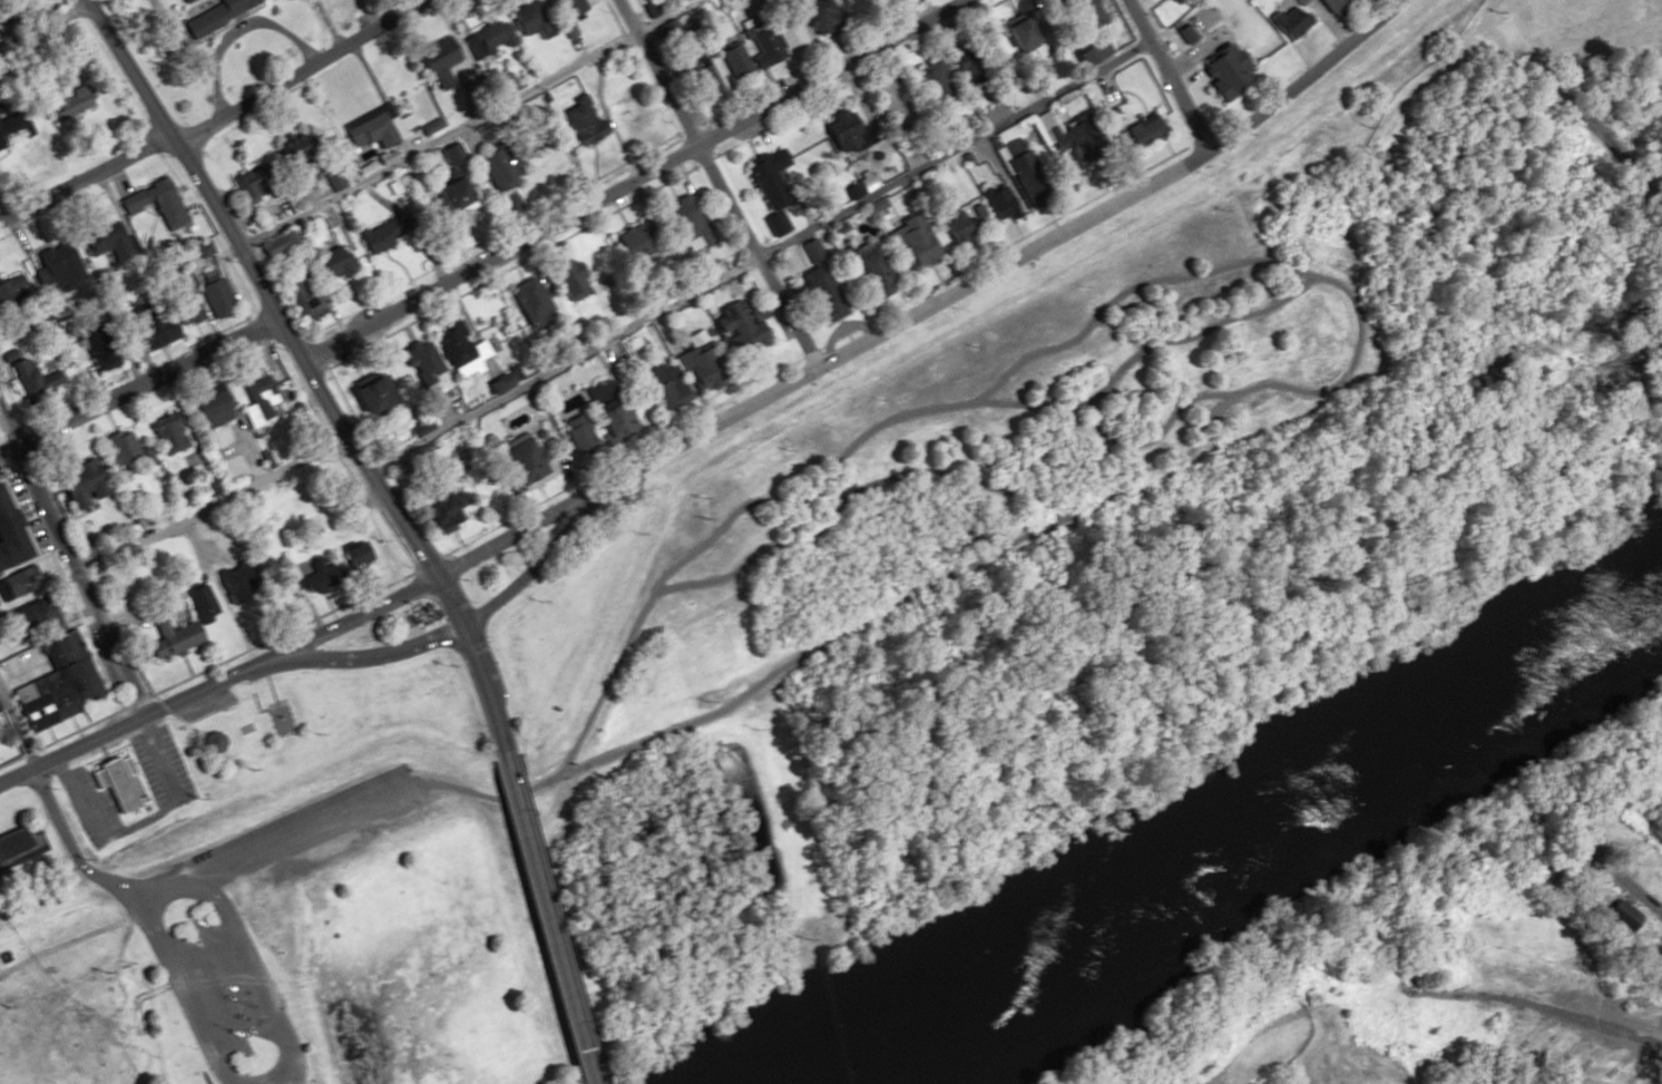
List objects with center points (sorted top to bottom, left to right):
building: (183, 1)
building: (1328, 4)
building: (567, 8)
building: (1086, 12)
building: (810, 13)
building: (214, 14)
building: (526, 20)
building: (1285, 21)
building: (784, 32)
building: (489, 37)
building: (1089, 50)
building: (766, 52)
building: (432, 60)
building: (1225, 69)
road: (295, 71)
building: (932, 74)
road: (1166, 75)
building: (696, 80)
building: (66, 102)
building: (894, 106)
road: (461, 123)
building: (370, 127)
building: (843, 130)
building: (1065, 134)
building: (496, 166)
road: (82, 177)
building: (765, 179)
road: (716, 182)
road: (628, 184)
building: (242, 185)
building: (447, 196)
building: (151, 203)
building: (684, 223)
building: (955, 225)
building: (381, 232)
building: (104, 241)
building: (911, 241)
building: (630, 246)
building: (812, 251)
road: (757, 255)
building: (326, 264)
road: (999, 264)
building: (55, 270)
building: (868, 270)
building: (564, 279)
building: (11, 289)
road: (256, 289)
building: (818, 293)
building: (212, 297)
building: (297, 297)
building: (526, 302)
building: (180, 310)
building: (144, 326)
building: (739, 326)
road: (939, 326)
building: (91, 348)
building: (454, 350)
building: (696, 368)
building: (424, 370)
building: (28, 378)
road: (134, 379)
building: (661, 387)
building: (363, 397)
building: (257, 398)
building: (204, 407)
building: (605, 419)
building: (164, 436)
building: (575, 436)
building: (114, 448)
building: (521, 462)
building: (74, 485)
road: (209, 504)
building: (8, 540)
building: (354, 556)
traffic signals: (436, 575)
road: (76, 576)
building: (316, 576)
road: (424, 580)
building: (17, 583)
building: (229, 584)
road: (448, 600)
building: (197, 603)
building: (30, 621)
traffic signals: (460, 627)
road: (450, 631)
building: (167, 638)
building: (58, 683)
road: (481, 687)
road: (228, 689)
parking lot: (201, 704)
road: (226, 704)
road: (169, 716)
road: (134, 717)
building: (207, 740)
parking lot: (160, 768)
building: (108, 781)
road: (458, 785)
parking lot: (85, 805)
road: (136, 821)
river: (1235, 832)
building: (9, 838)
building: (1631, 848)
road: (17, 852)
road: (75, 867)
building: (1651, 872)
road: (1615, 879)
road: (150, 888)
building: (1619, 915)
road: (541, 917)
park: (385, 926)
building: (1644, 934)
parking lot: (218, 987)
park: (87, 1000)
road: (1528, 1007)
road: (291, 1074)
park: (283, 1082)

